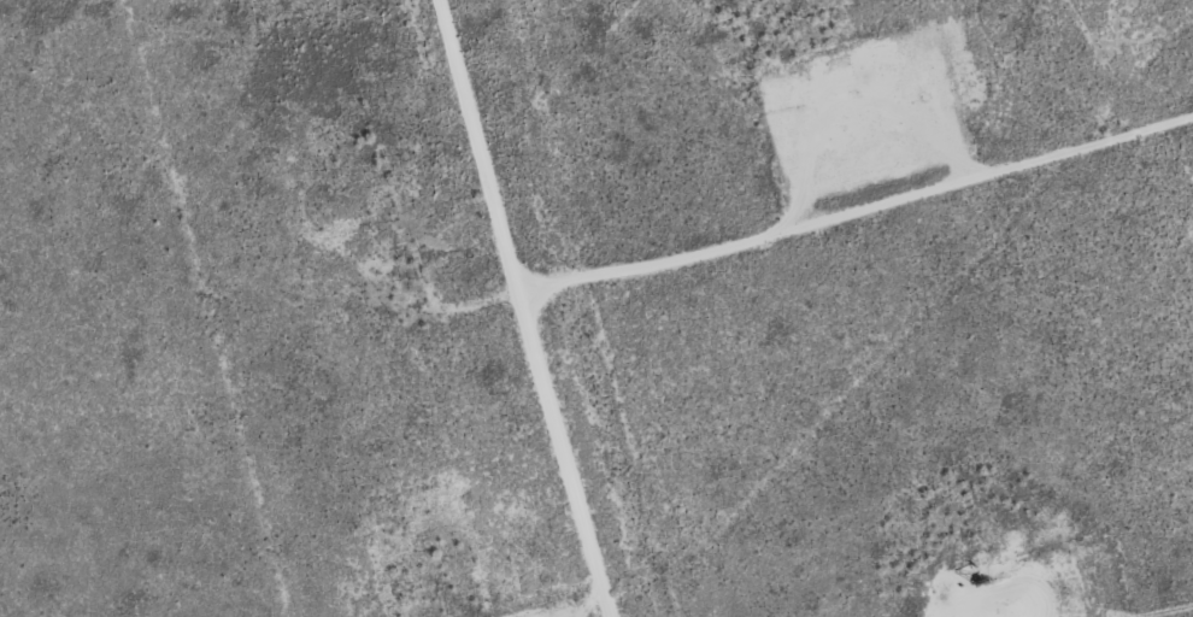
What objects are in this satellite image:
road: (856, 206)
road: (522, 308)

